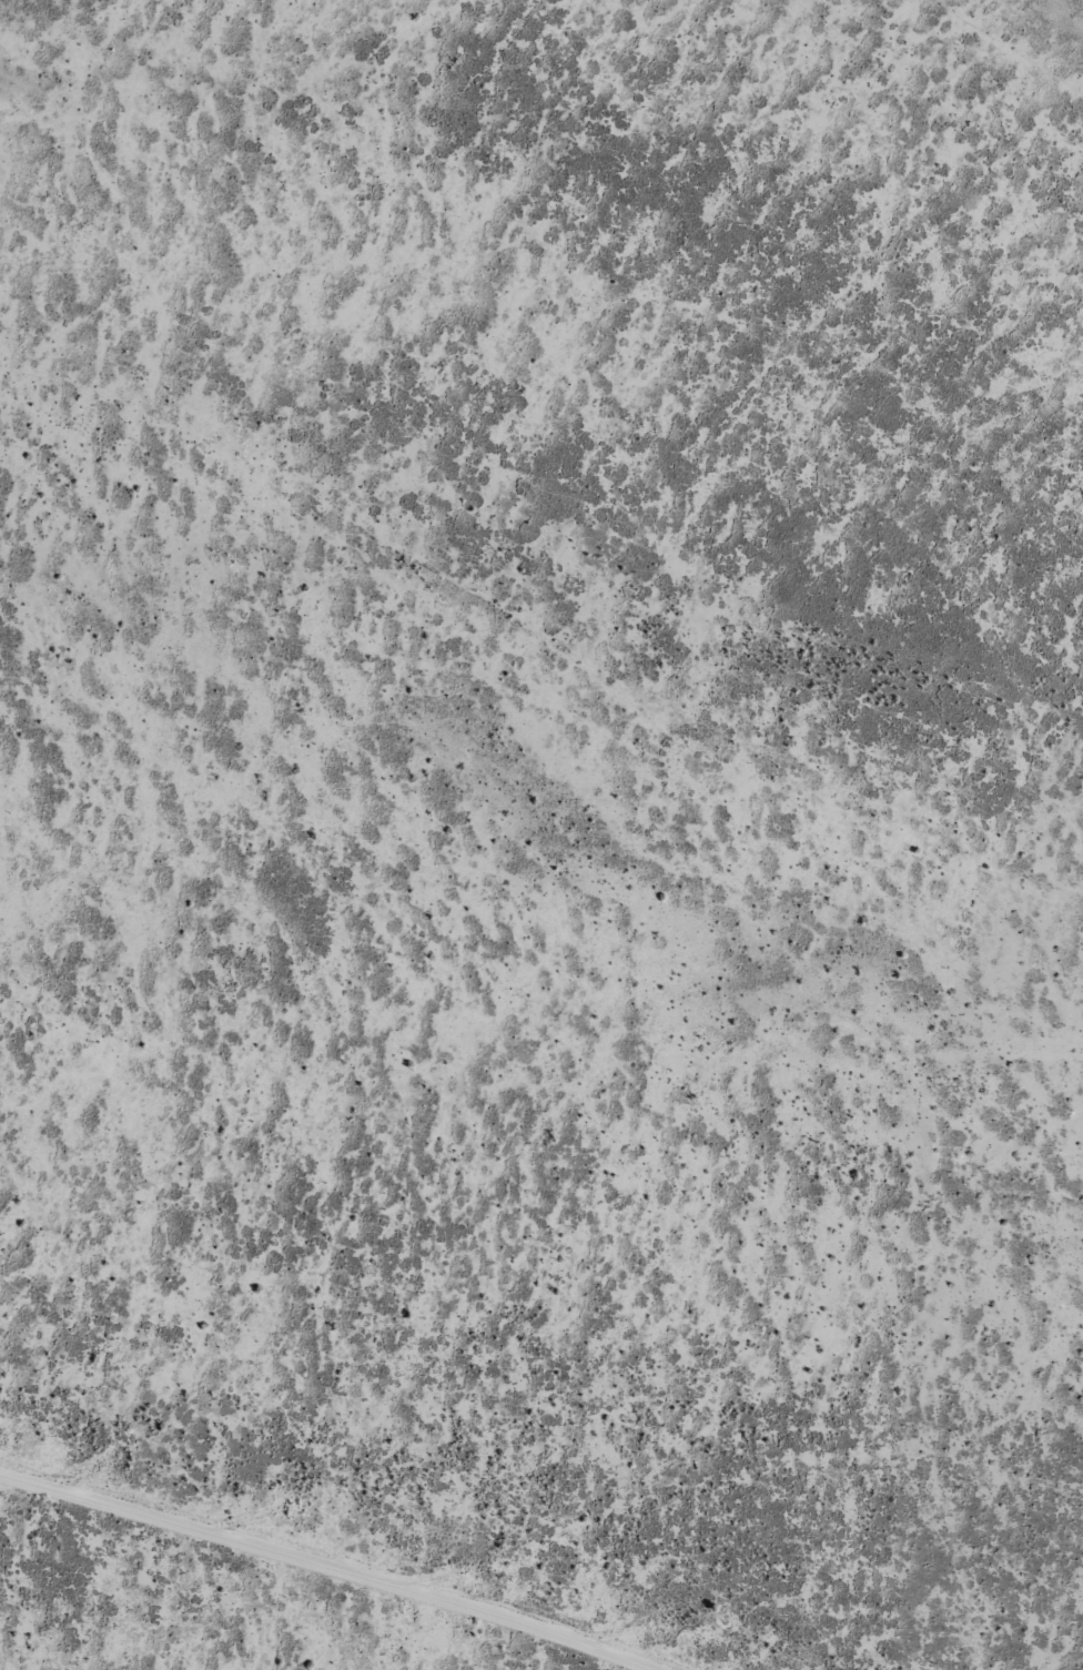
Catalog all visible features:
road: (302, 1570)

